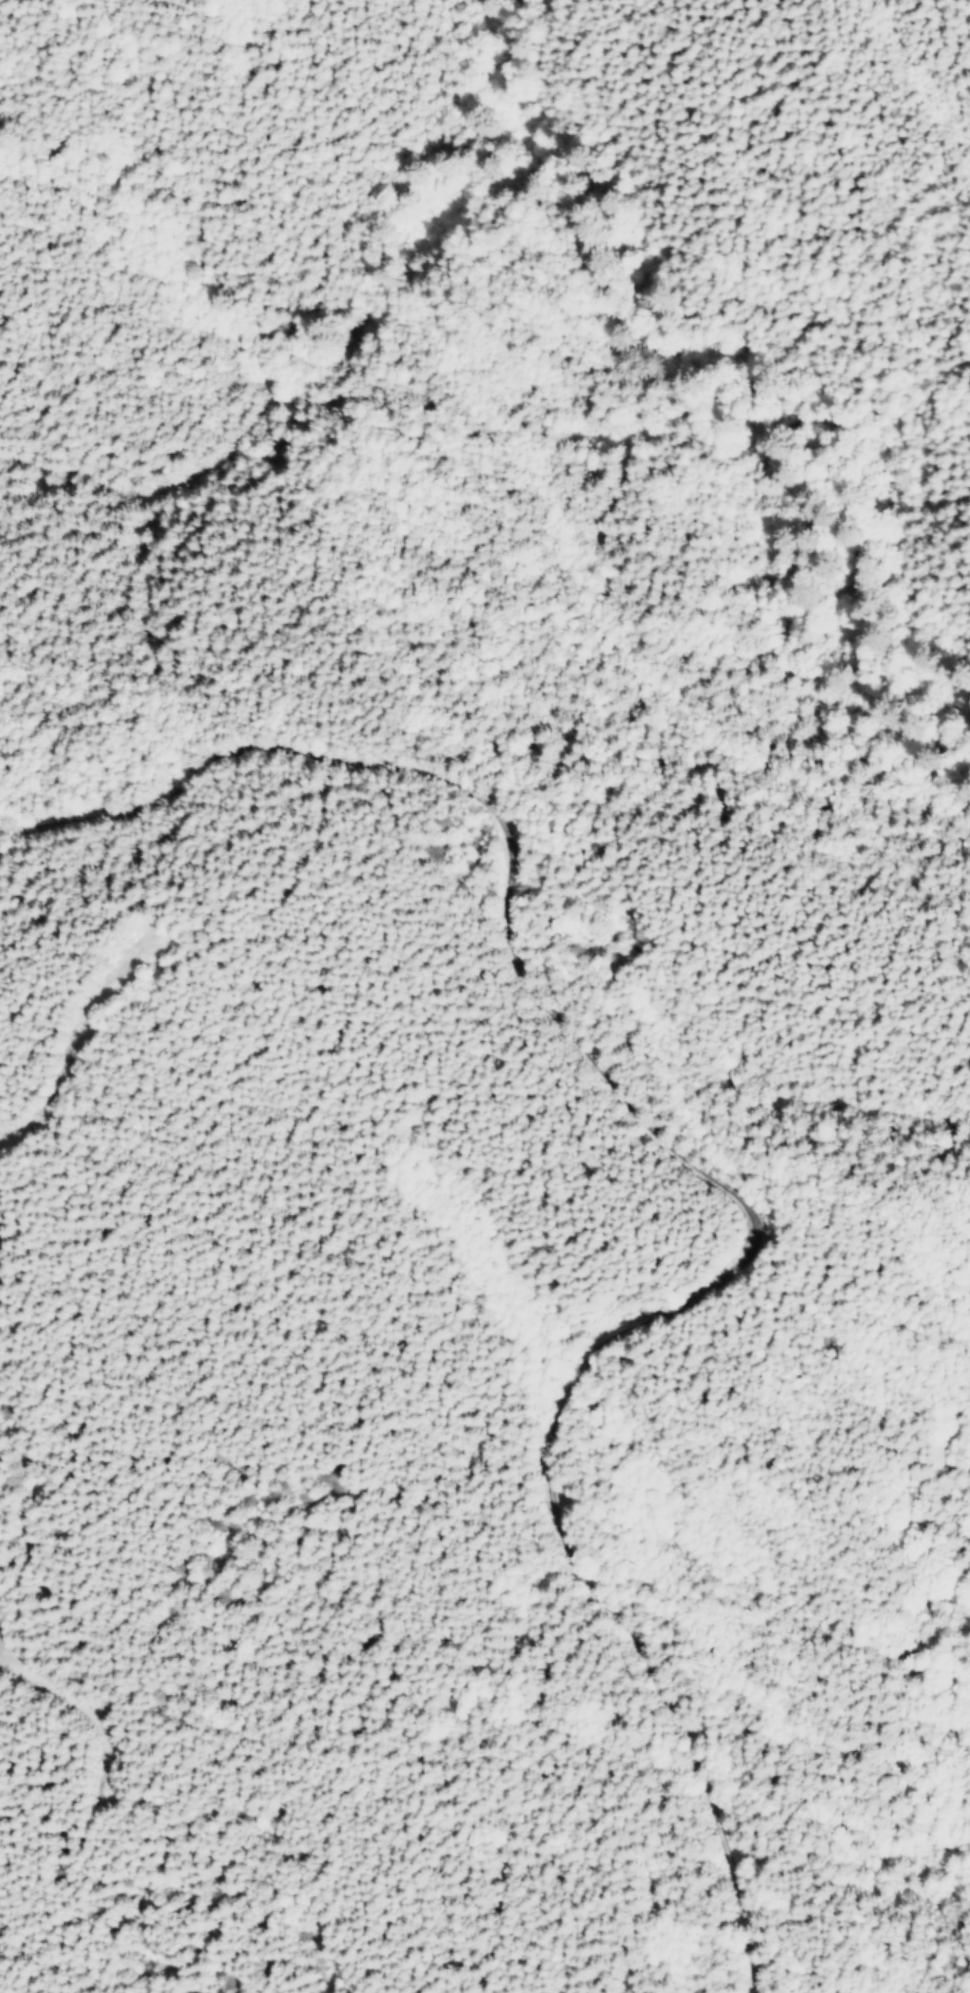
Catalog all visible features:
road: (707, 1155)

